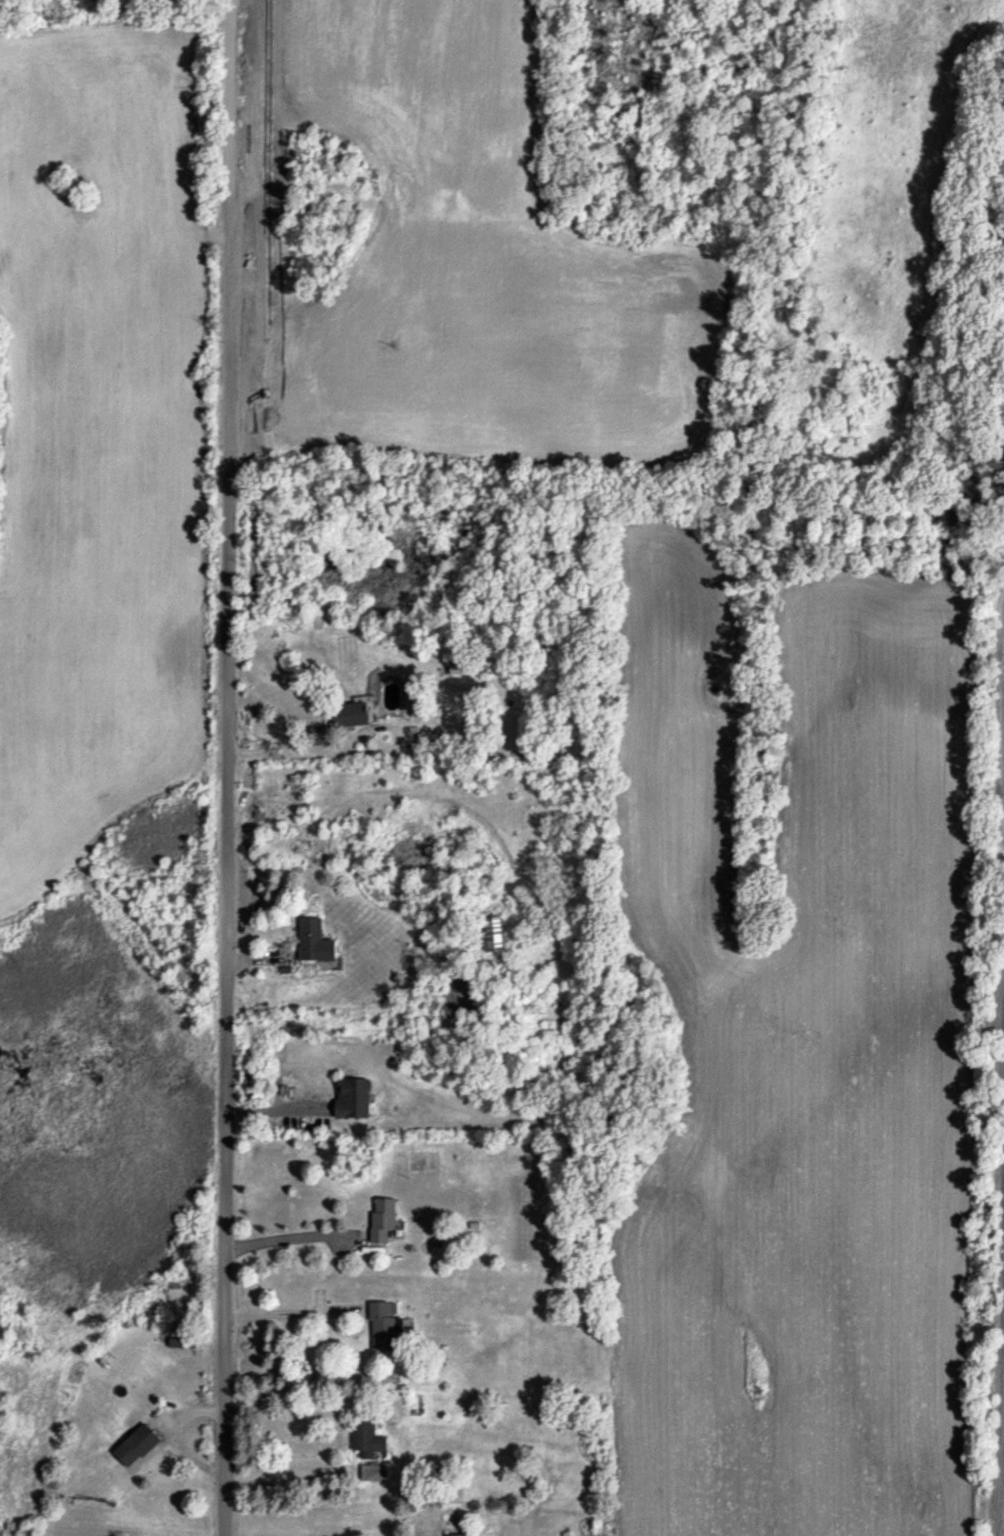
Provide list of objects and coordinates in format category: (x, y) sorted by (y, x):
road: (230, 77)
building: (459, 664)
building: (350, 714)
road: (307, 751)
crop: (608, 814)
road: (226, 844)
building: (494, 933)
building: (314, 940)
building: (353, 1097)
road: (277, 1110)
building: (383, 1218)
road: (286, 1237)
road: (288, 1313)
building: (388, 1325)
building: (367, 1439)
building: (136, 1444)
road: (286, 1472)
building: (373, 1472)
building: (462, 1535)

